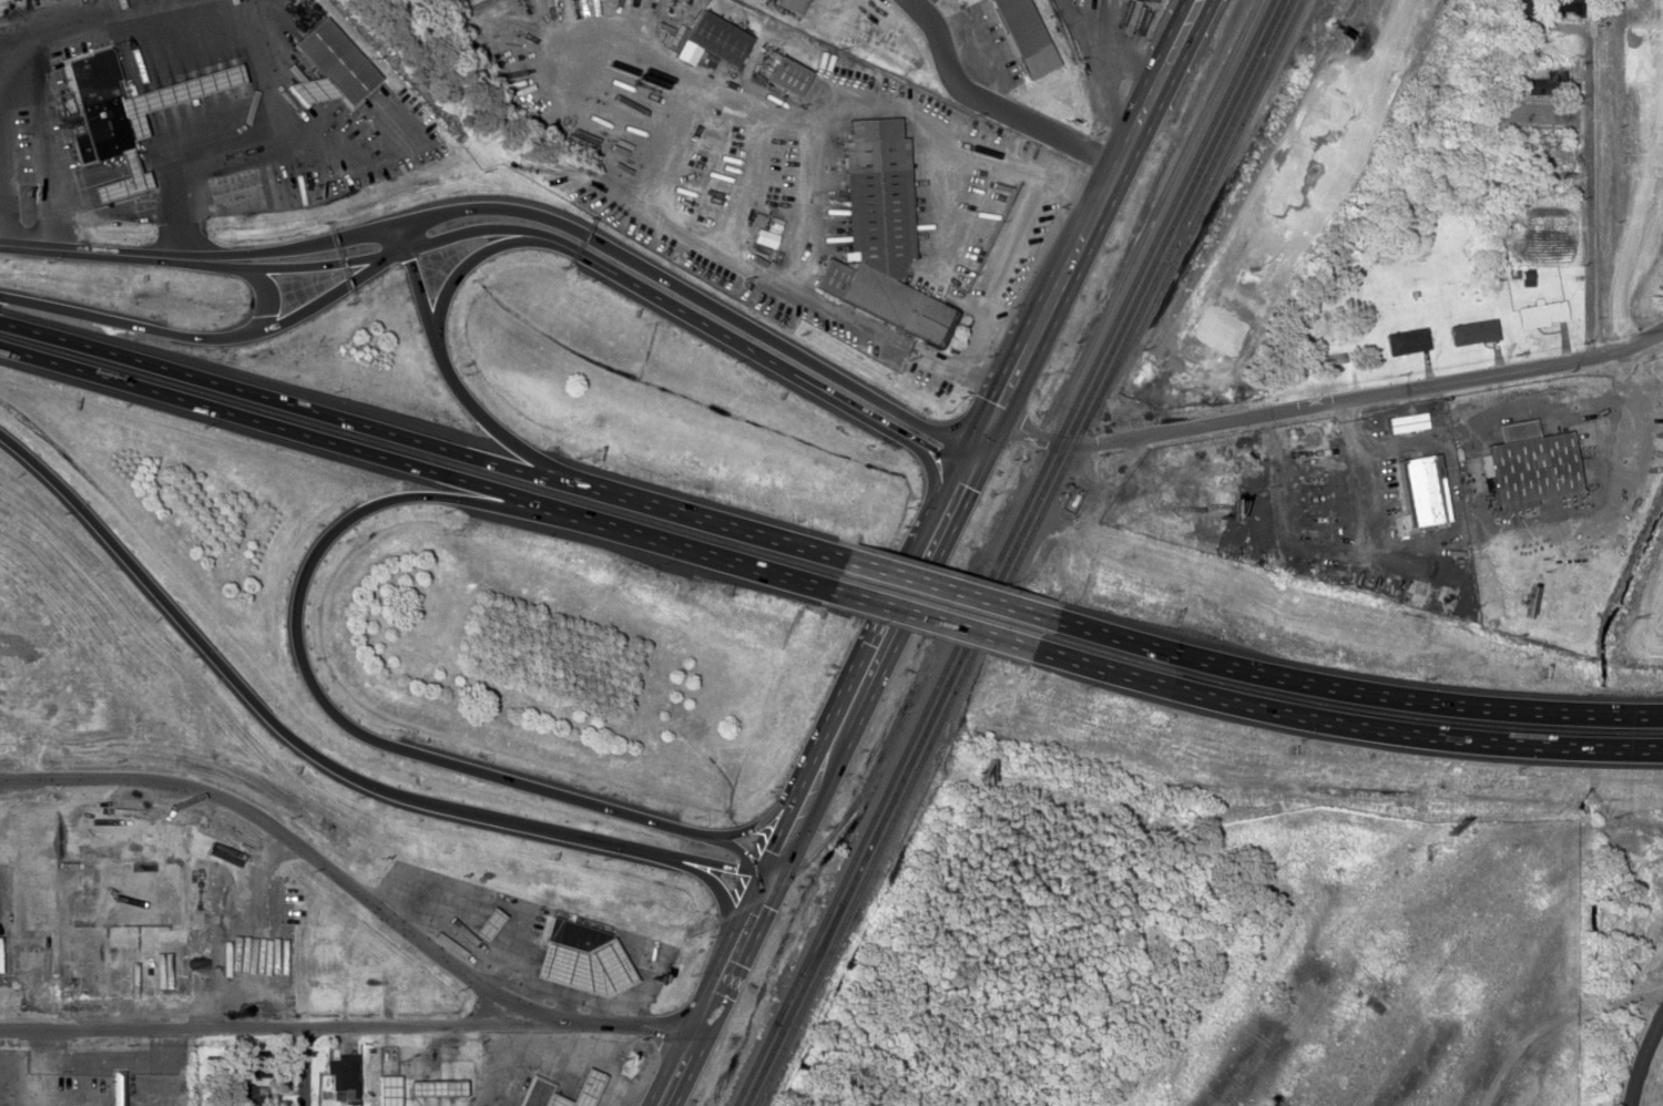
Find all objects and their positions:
building: (790, 3)
building: (1527, 6)
building: (1561, 7)
building: (1026, 35)
building: (716, 37)
road: (1526, 58)
building: (335, 60)
building: (786, 74)
building: (1549, 82)
road: (994, 103)
building: (120, 132)
building: (1558, 164)
railway: (1194, 203)
railway: (1207, 206)
railway: (1167, 221)
railway: (1176, 222)
building: (878, 232)
road: (1082, 237)
road: (1589, 242)
road: (307, 243)
road: (399, 249)
road: (88, 253)
road: (469, 260)
road: (211, 262)
road: (417, 278)
road: (266, 293)
road: (714, 304)
building: (1541, 313)
building: (1475, 331)
road: (235, 335)
building: (1408, 340)
road: (759, 352)
road: (1330, 397)
road: (279, 400)
road: (486, 416)
road: (279, 423)
railway: (1086, 426)
building: (1531, 464)
building: (1422, 489)
road: (701, 518)
road: (693, 549)
road: (943, 587)
road: (932, 619)
road: (875, 665)
road: (1350, 689)
building: (61, 711)
road: (350, 720)
road: (1346, 721)
road: (325, 757)
railway: (897, 774)
railway: (906, 775)
railway: (918, 775)
road: (298, 841)
road: (776, 867)
building: (486, 924)
gas station: (486, 924)
building: (572, 934)
road: (732, 957)
railway: (812, 960)
building: (581, 967)
gas station: (581, 967)
road: (347, 1024)
road: (1641, 1058)
road: (307, 1065)
building: (420, 1072)
building: (458, 1072)
road: (676, 1072)
building: (375, 1073)
building: (344, 1079)
building: (504, 1085)
building: (584, 1087)
gas station: (584, 1087)
building: (114, 1088)
building: (535, 1092)
building: (253, 1095)
building: (554, 1100)

